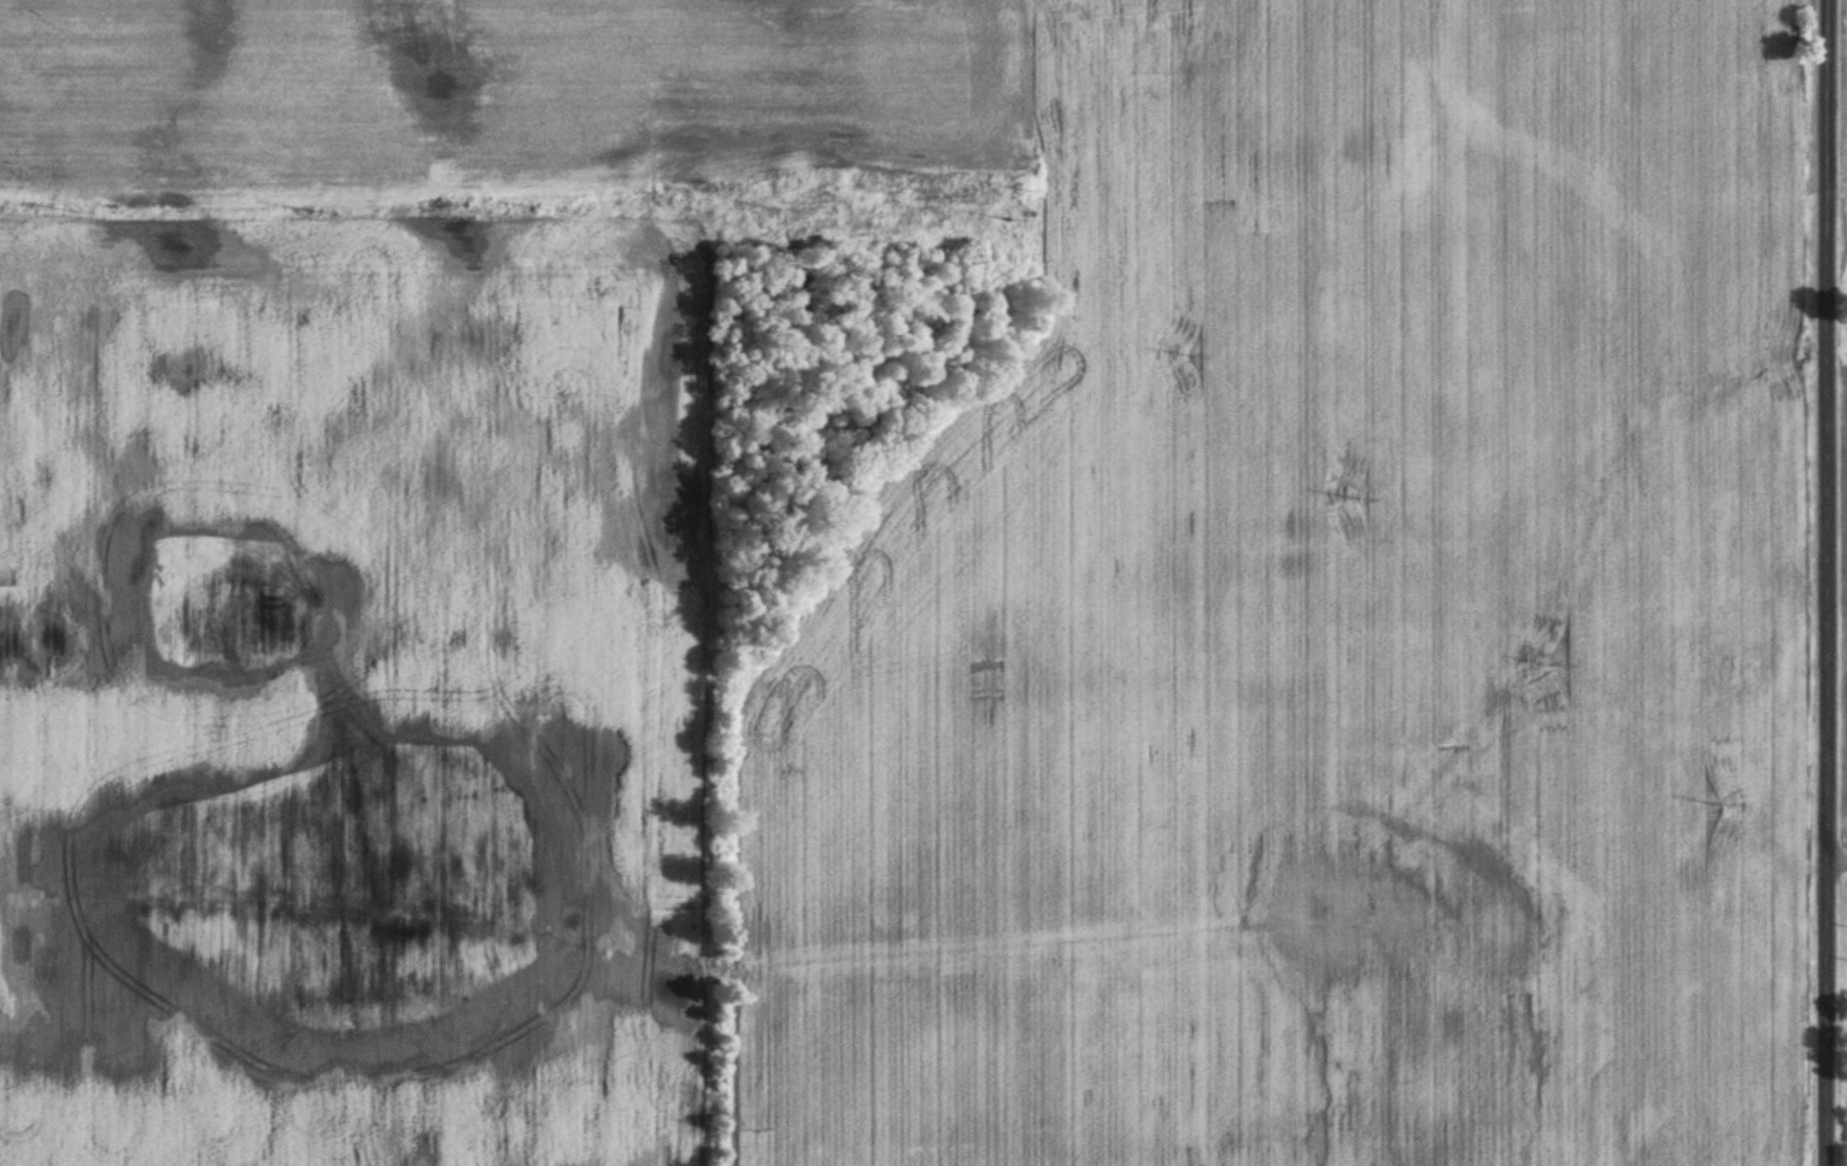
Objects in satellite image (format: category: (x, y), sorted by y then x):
road: (1829, 582)

